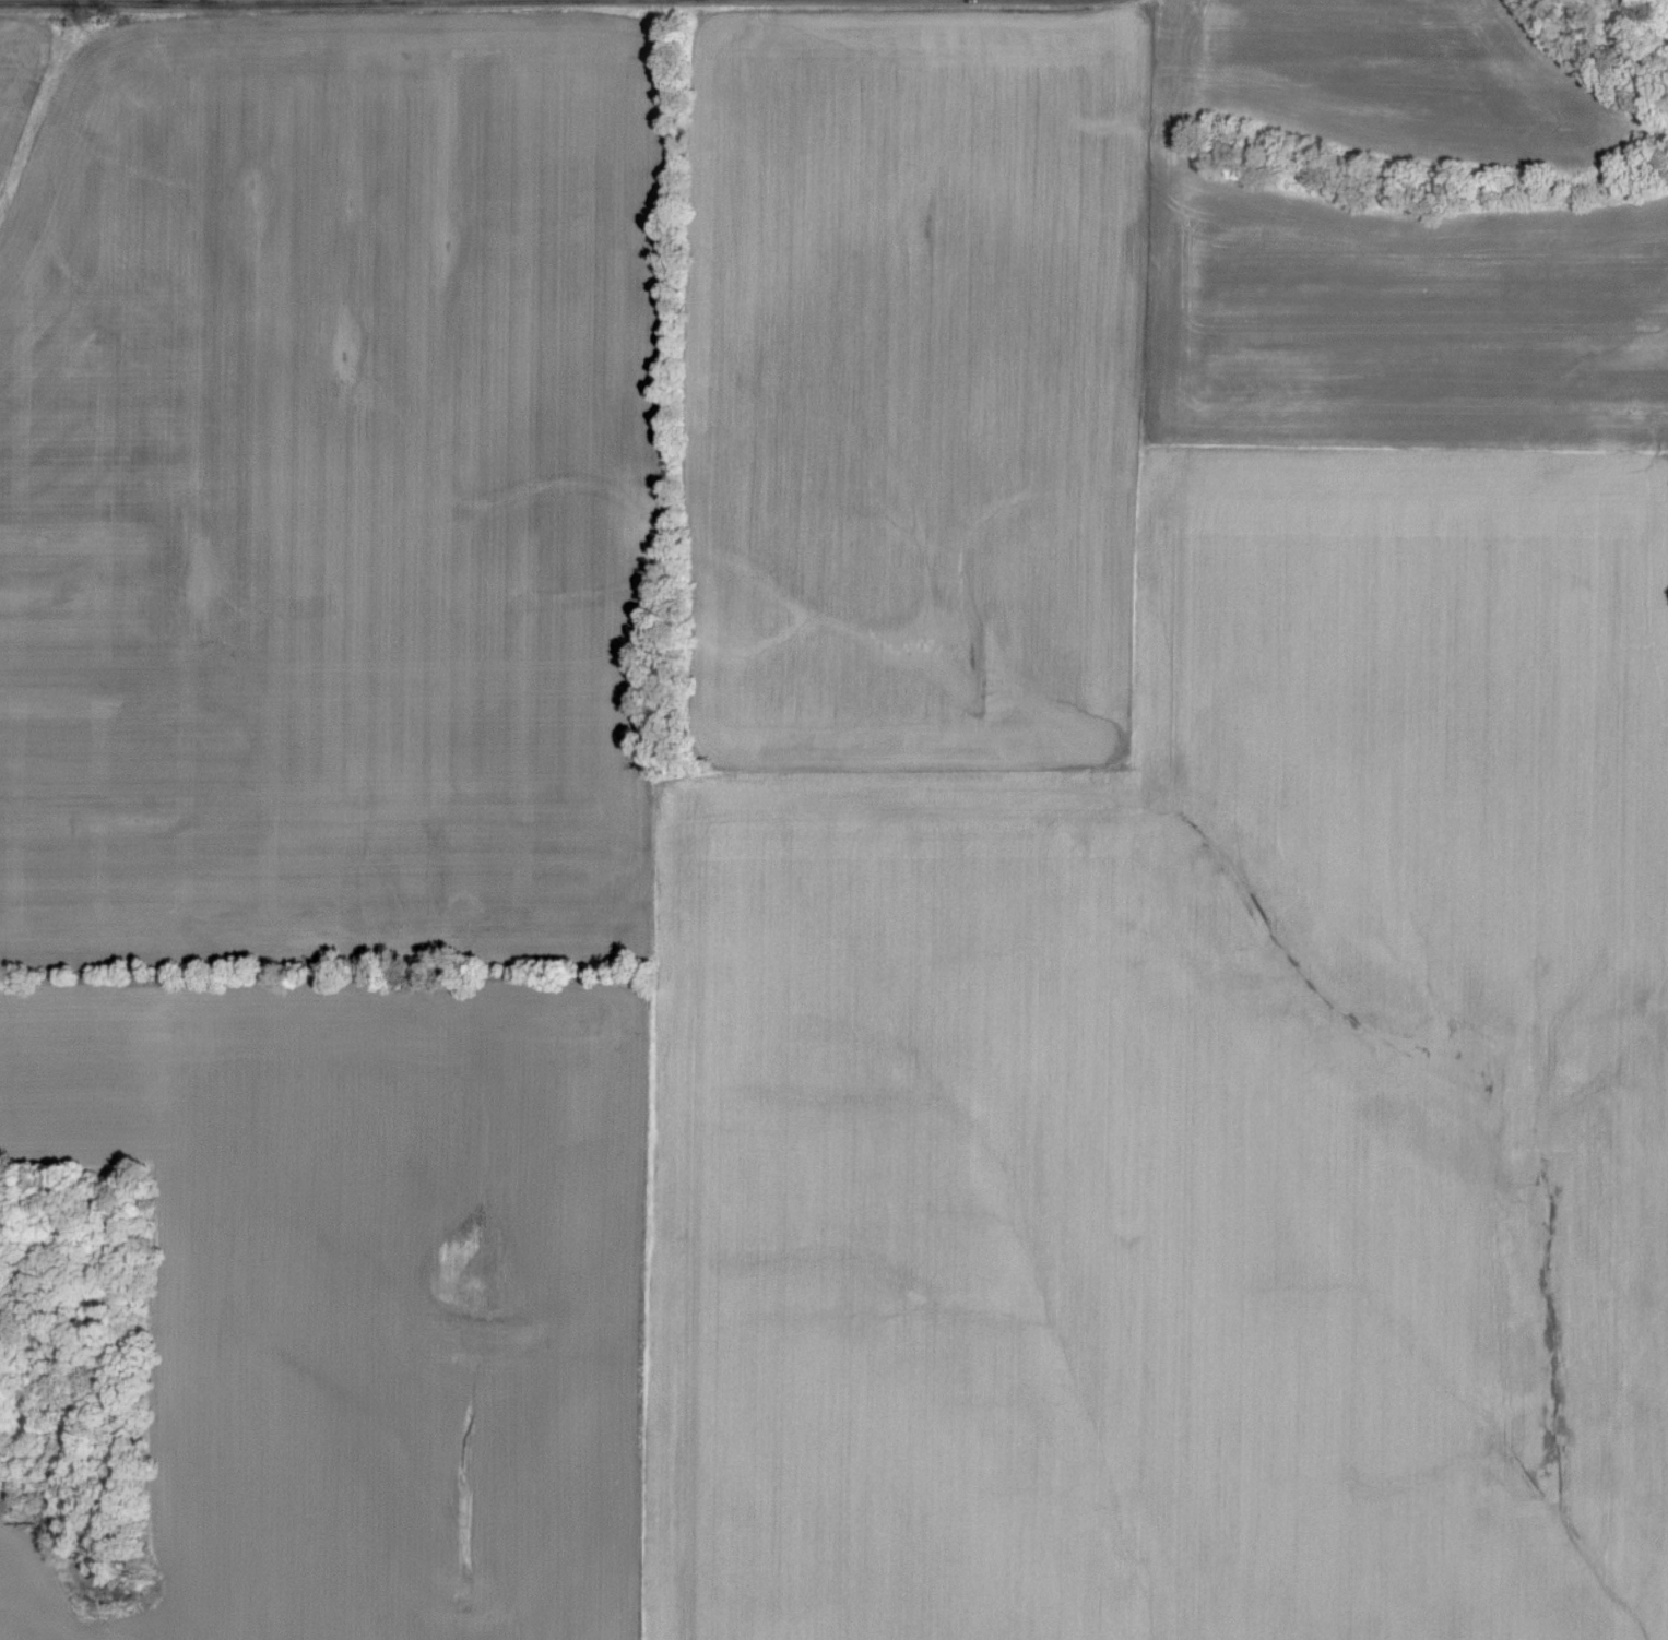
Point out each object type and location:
road: (184, 0)
road: (120, 1)

